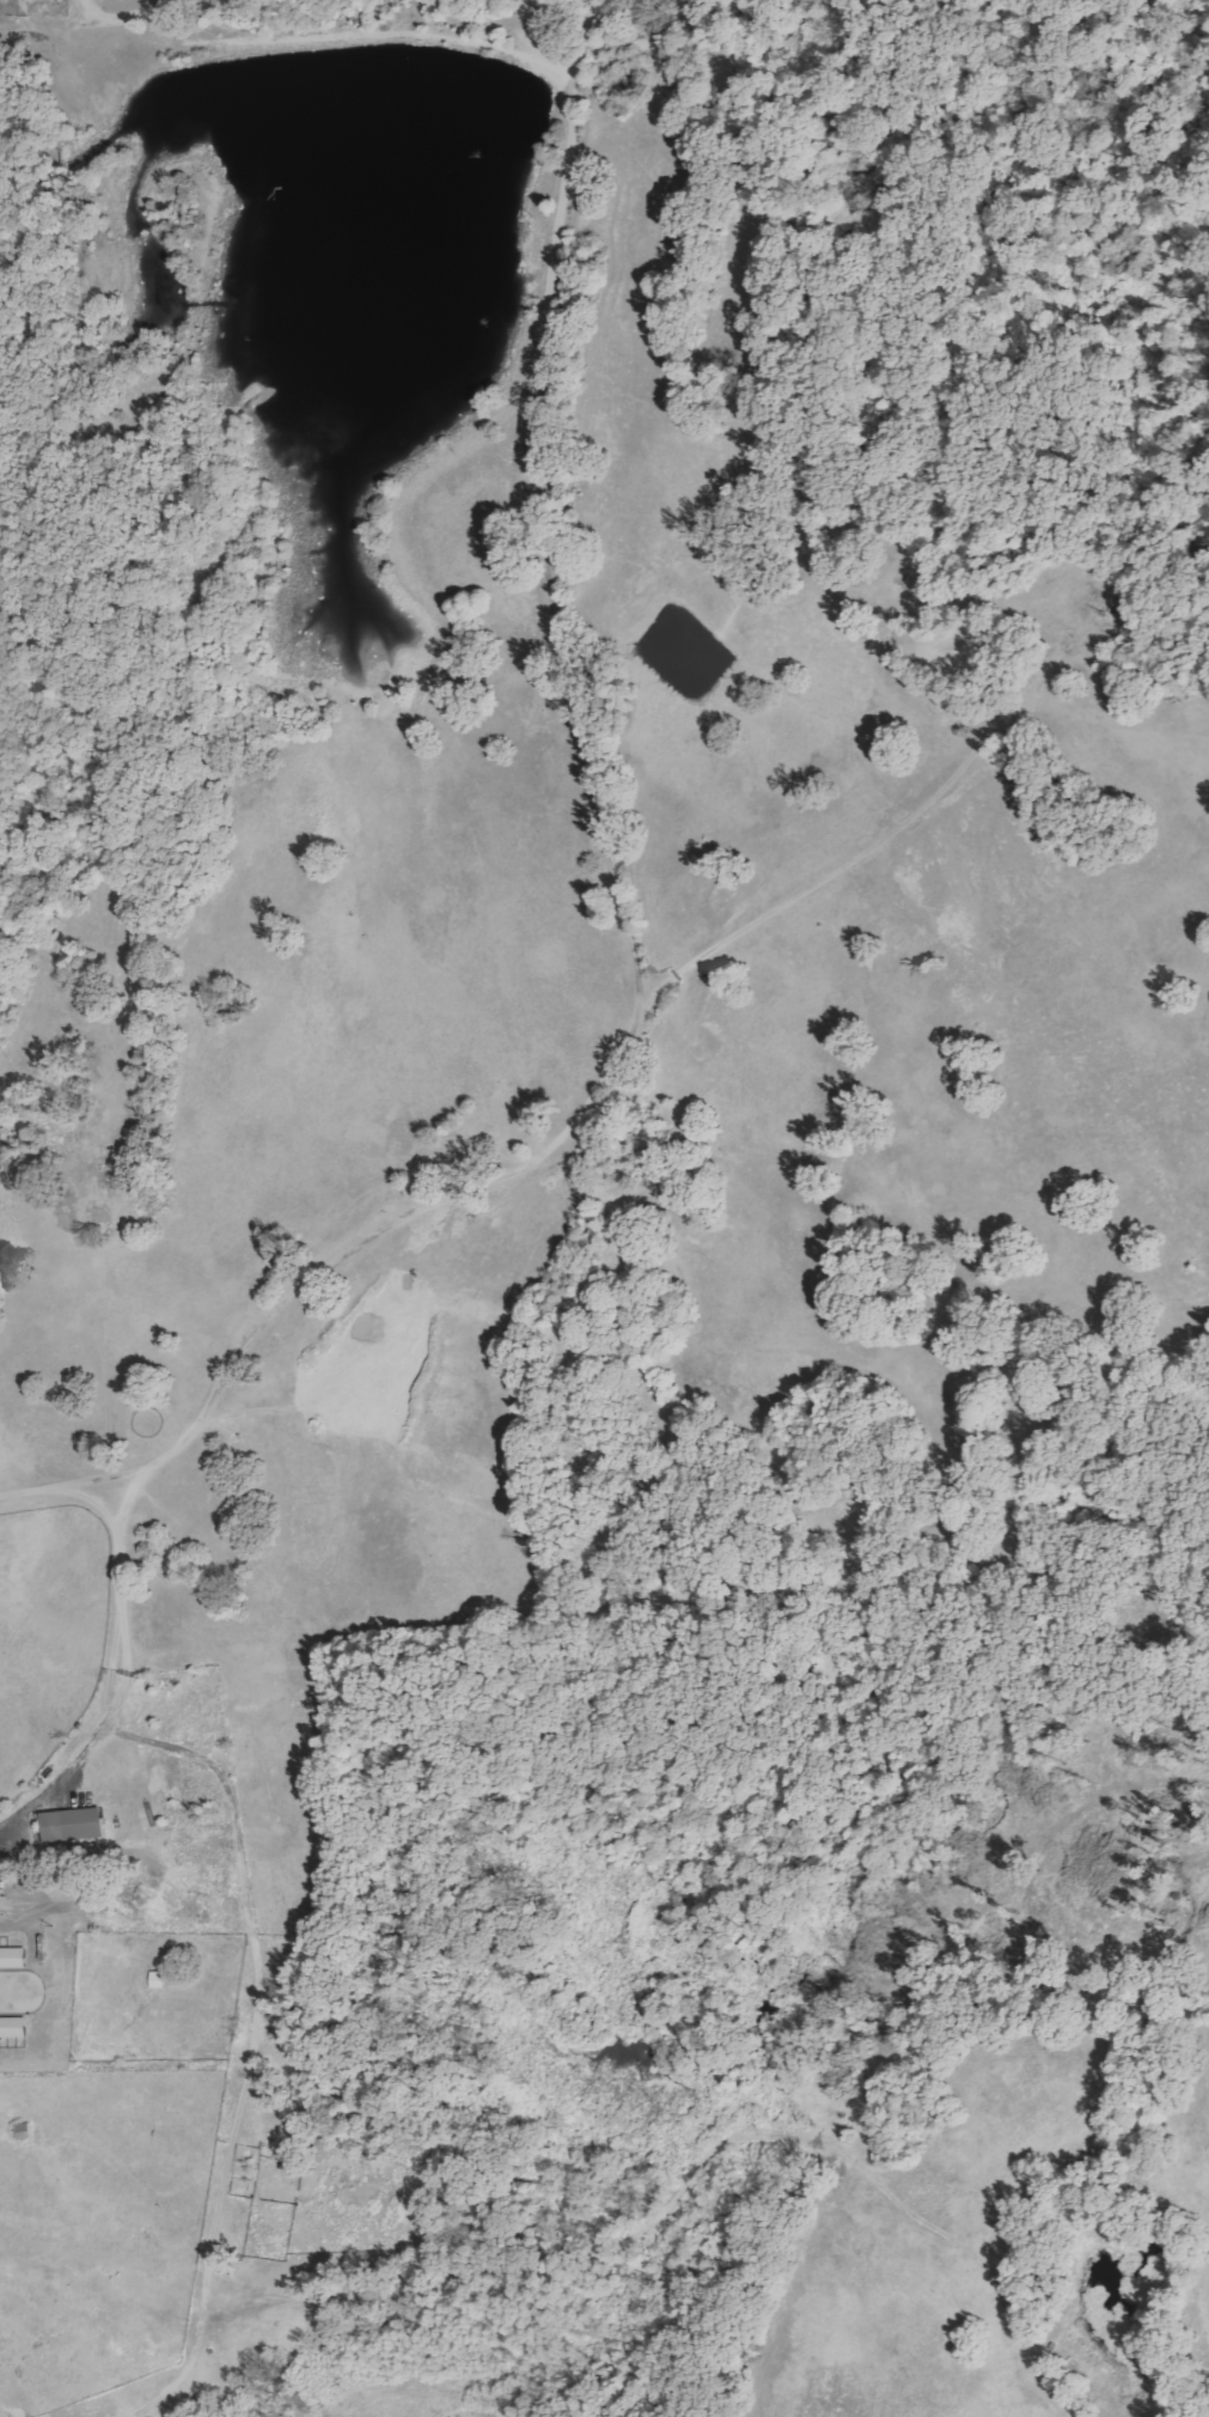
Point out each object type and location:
road: (332, 35)
road: (853, 862)
road: (623, 923)
building: (74, 1825)
building: (13, 1959)
building: (158, 1980)
building: (13, 2028)

